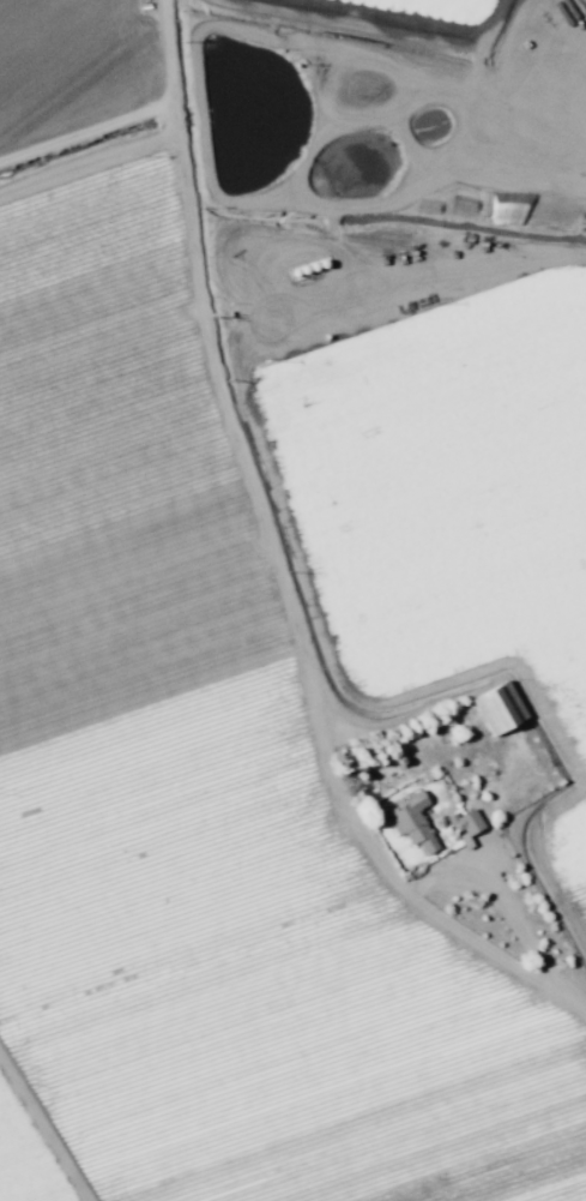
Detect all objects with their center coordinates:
road: (277, 559)
crop: (276, 697)
building: (500, 709)
building: (413, 823)

